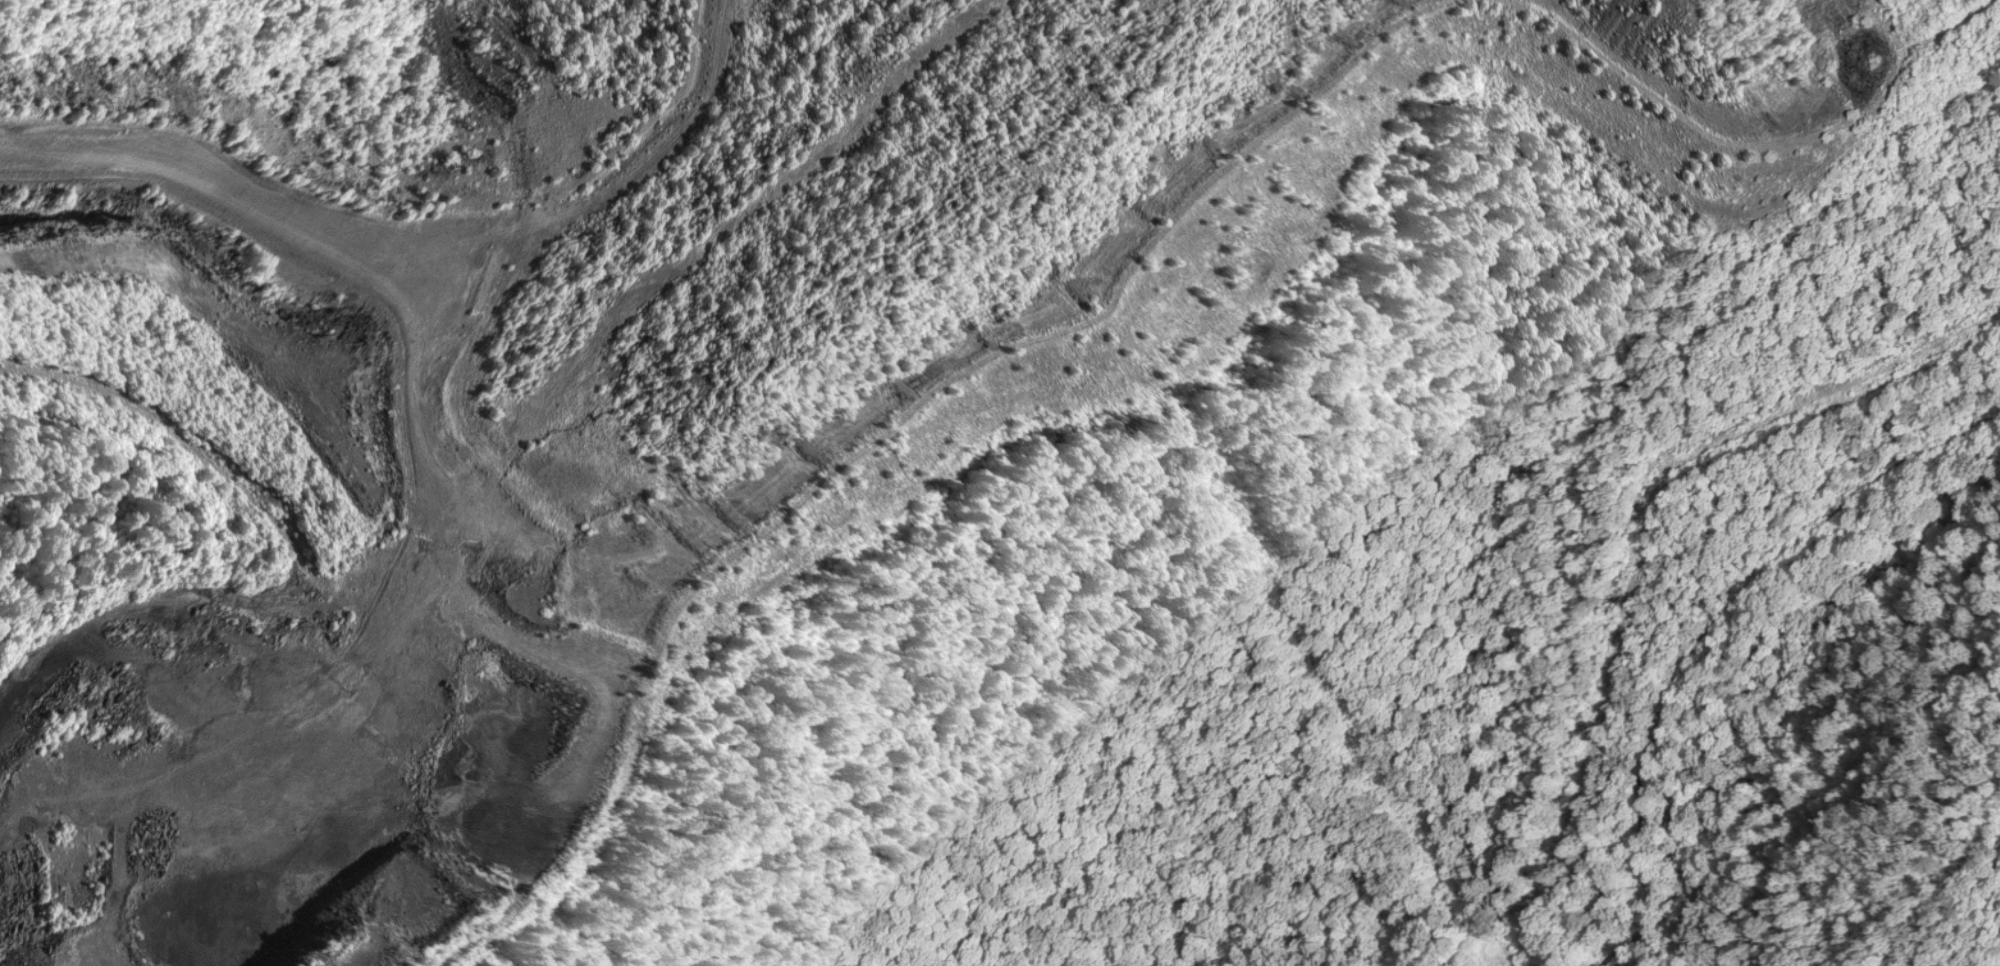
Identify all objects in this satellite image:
quarry: (1000, 483)
road: (81, 485)

